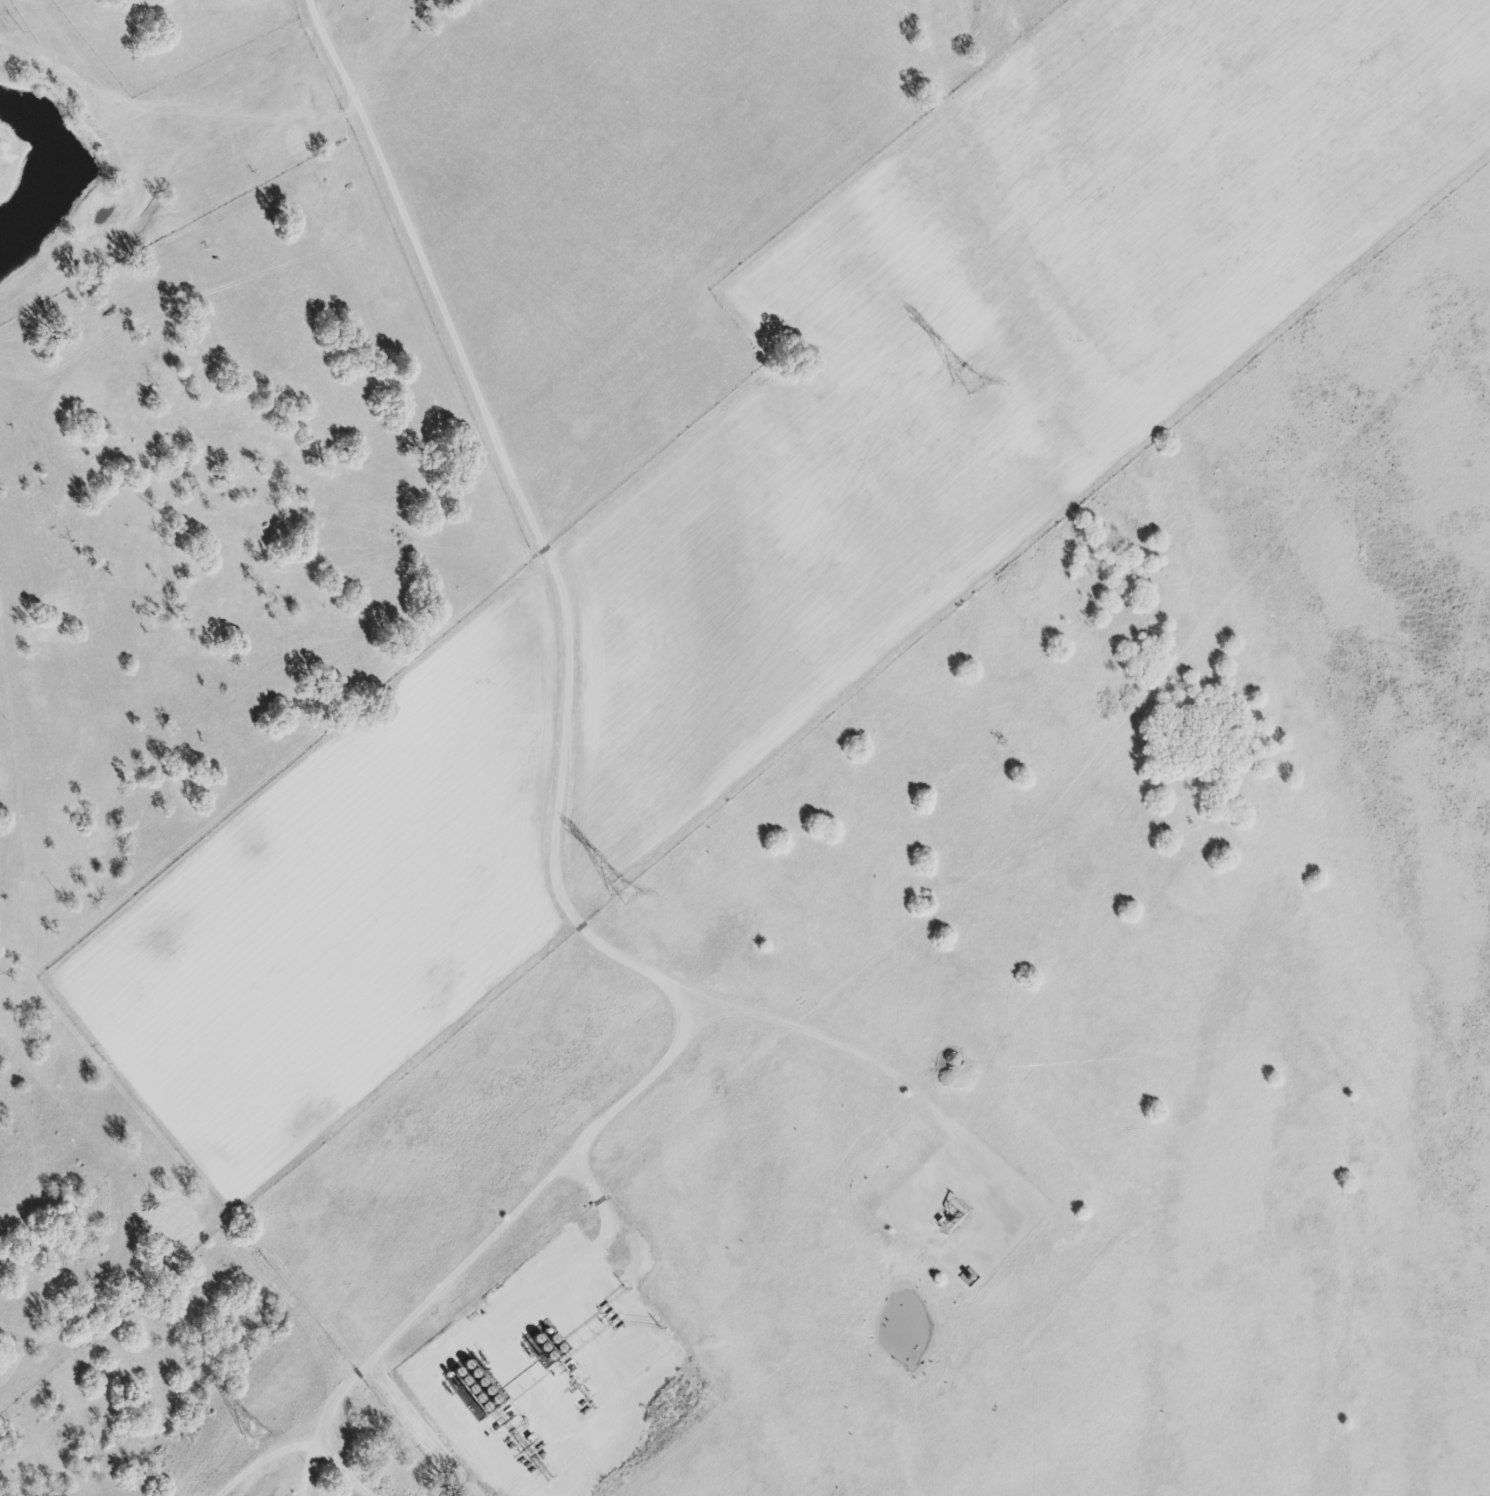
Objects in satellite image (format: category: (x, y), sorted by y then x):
power tower: (965, 382)
road: (535, 518)
power tower: (618, 895)
road: (909, 1076)
road: (485, 1232)
road: (520, 1304)
power tower: (253, 1437)
road: (266, 1455)
road: (348, 1461)

